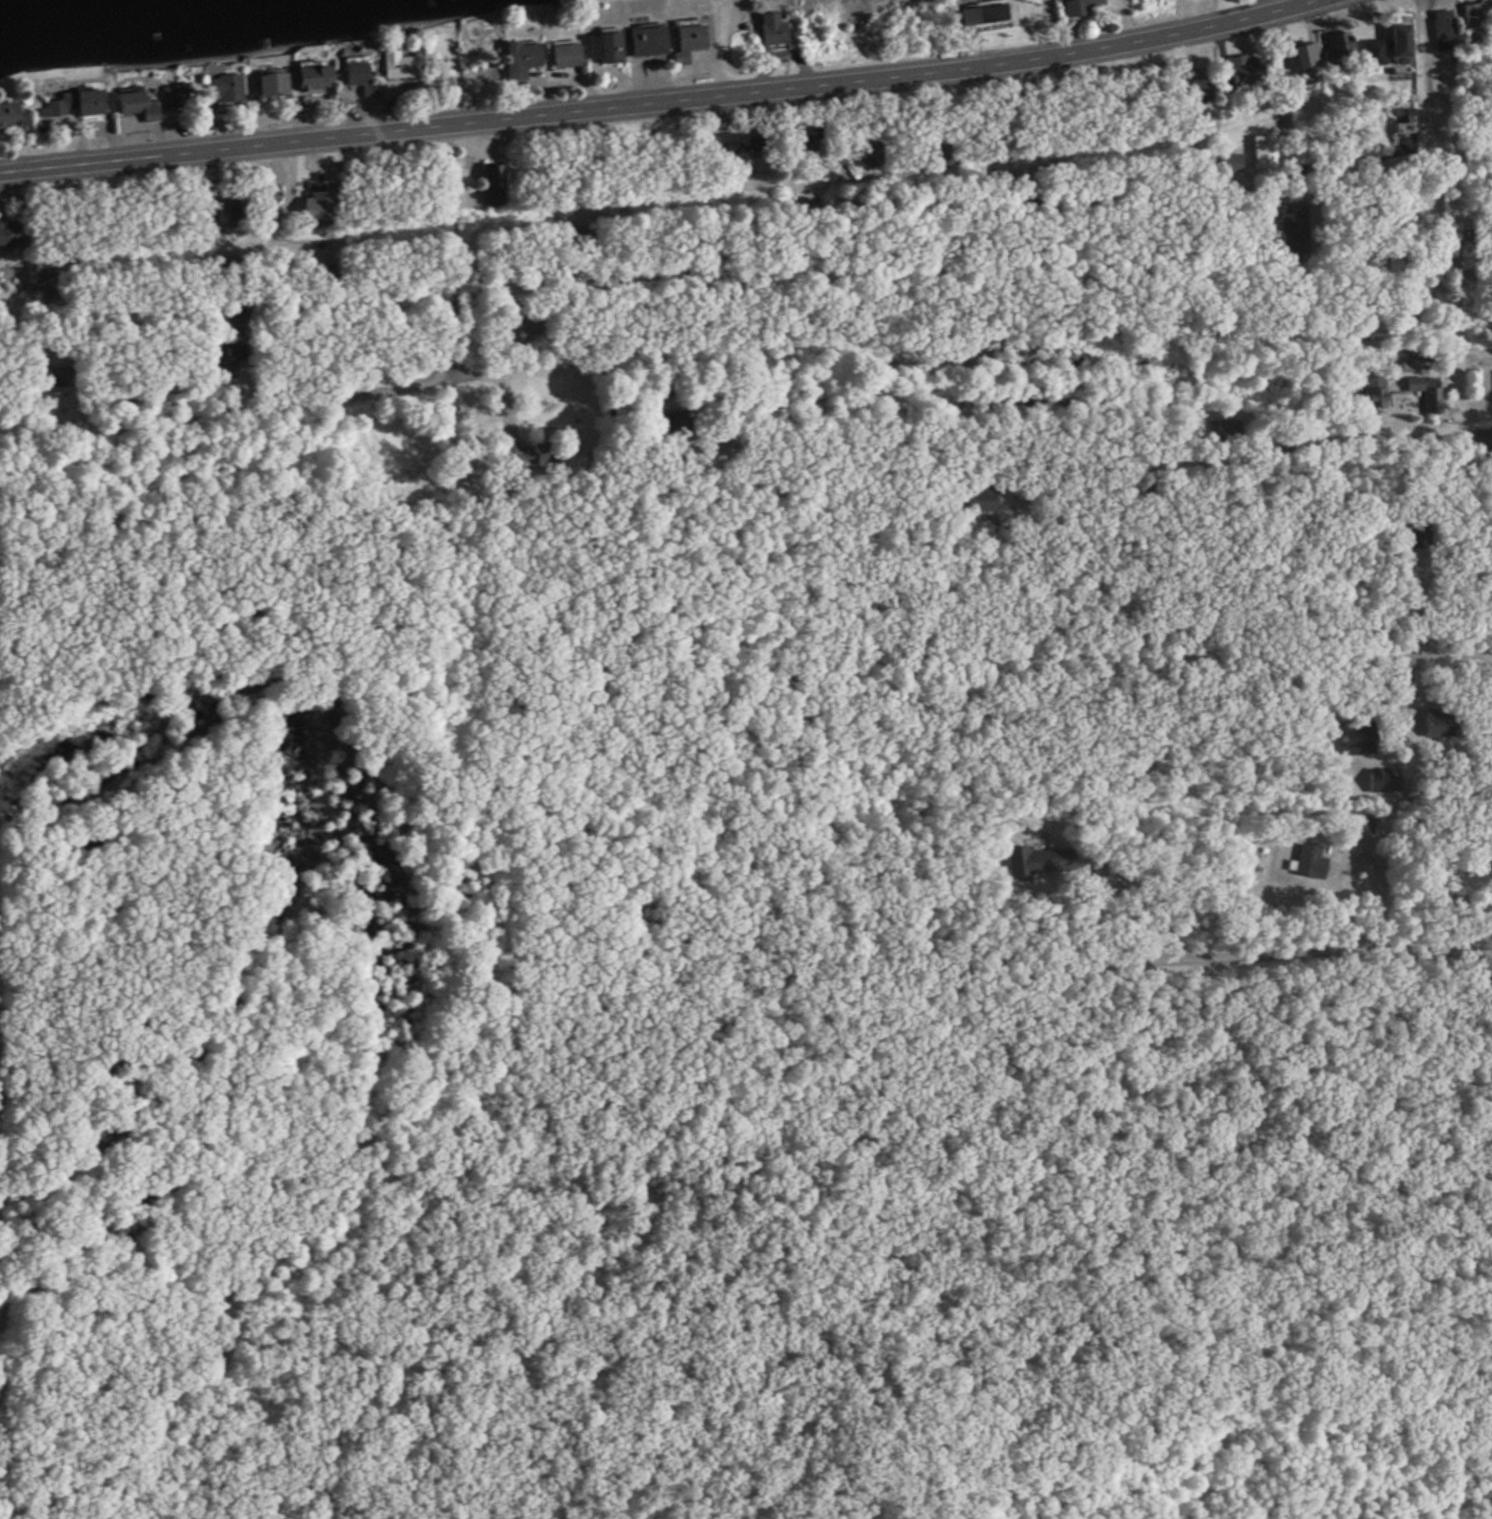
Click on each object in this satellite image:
building: (1081, 7)
building: (992, 14)
building: (1474, 25)
building: (772, 29)
building: (1444, 31)
building: (687, 39)
building: (646, 42)
building: (1401, 44)
building: (1341, 48)
building: (604, 49)
building: (565, 56)
building: (520, 60)
building: (1307, 61)
building: (398, 66)
building: (1246, 72)
building: (358, 77)
building: (313, 79)
building: (272, 86)
building: (389, 89)
building: (225, 90)
building: (1197, 91)
building: (173, 98)
road: (659, 100)
building: (76, 106)
building: (137, 107)
building: (11, 116)
building: (1403, 119)
road: (1339, 128)
building: (739, 143)
building: (801, 144)
building: (1263, 153)
building: (492, 186)
road: (1473, 198)
road: (1456, 205)
building: (265, 206)
building: (236, 209)
building: (317, 210)
building: (1292, 229)
building: (8, 234)
road: (1476, 282)
road: (467, 284)
building: (51, 291)
building: (522, 327)
road: (541, 344)
building: (221, 362)
road: (327, 368)
building: (1408, 368)
building: (53, 378)
building: (1426, 393)
building: (1376, 398)
road: (1370, 414)
building: (674, 419)
building: (1483, 440)
building: (516, 457)
building: (976, 494)
road: (1057, 666)
road: (805, 710)
road: (631, 722)
building: (1442, 723)
building: (1358, 826)
building: (1306, 862)
building: (1034, 863)
road: (1224, 967)
road: (415, 1071)

